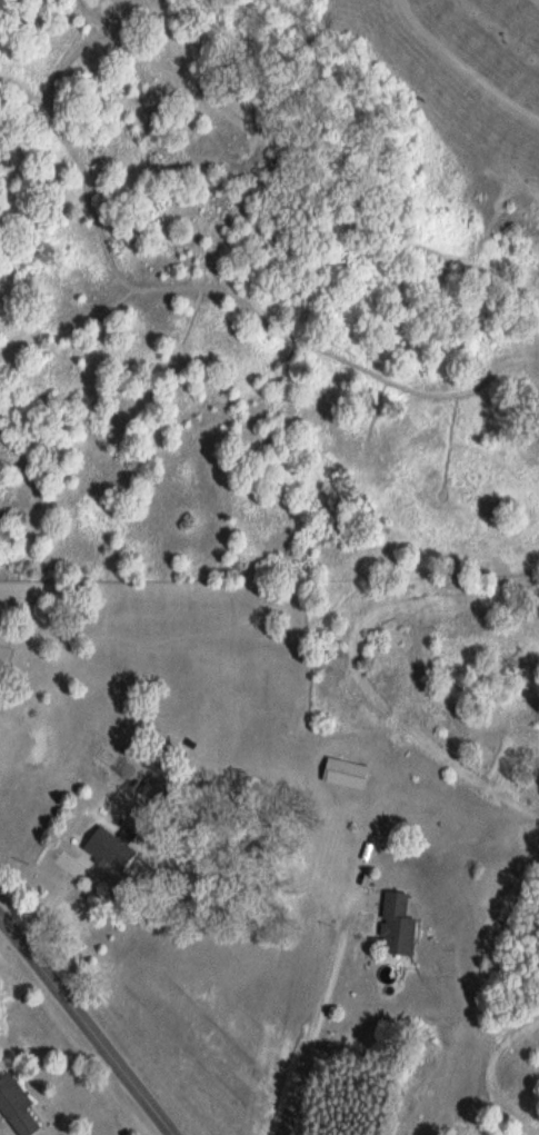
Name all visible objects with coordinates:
park: (268, 277)
building: (349, 773)
building: (401, 925)
road: (87, 1025)
building: (21, 1106)

